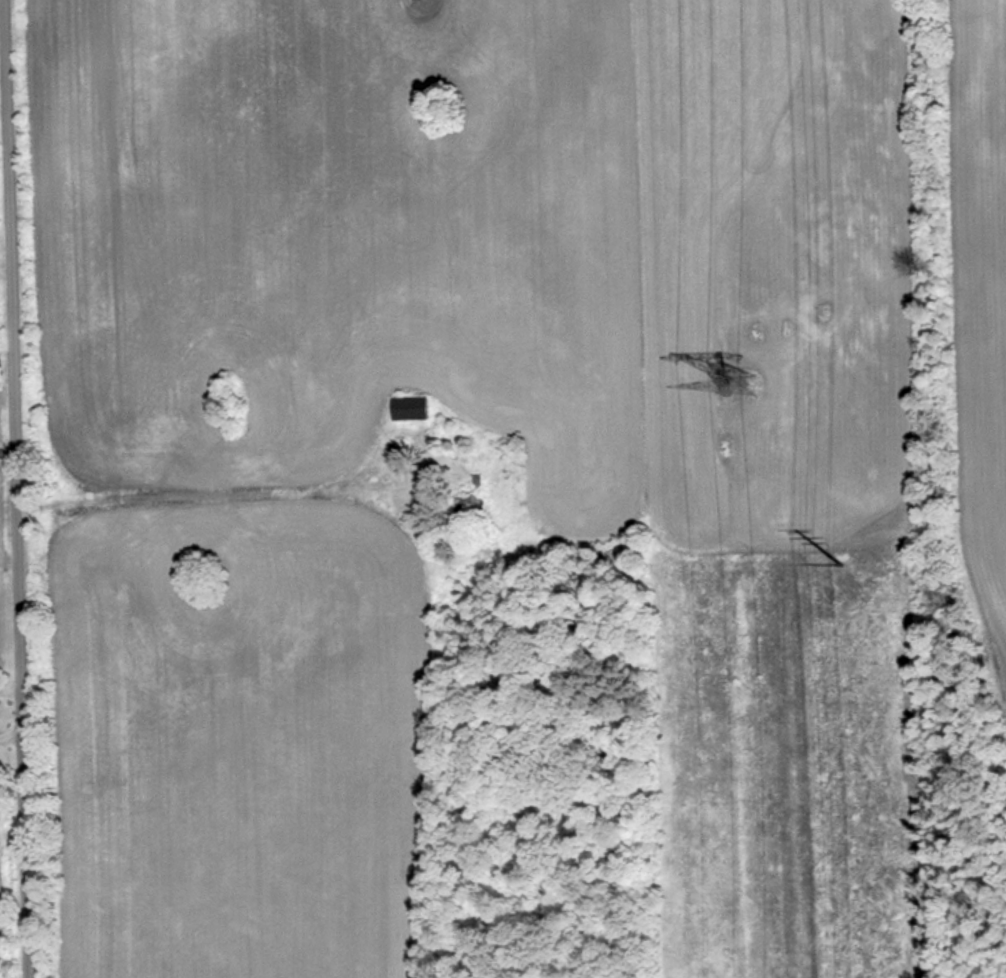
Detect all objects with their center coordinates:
power tower: (731, 391)
building: (409, 408)
road: (3, 446)
building: (477, 482)
building: (470, 506)
power tower: (855, 560)
road: (10, 581)
road: (6, 687)
road: (7, 734)

